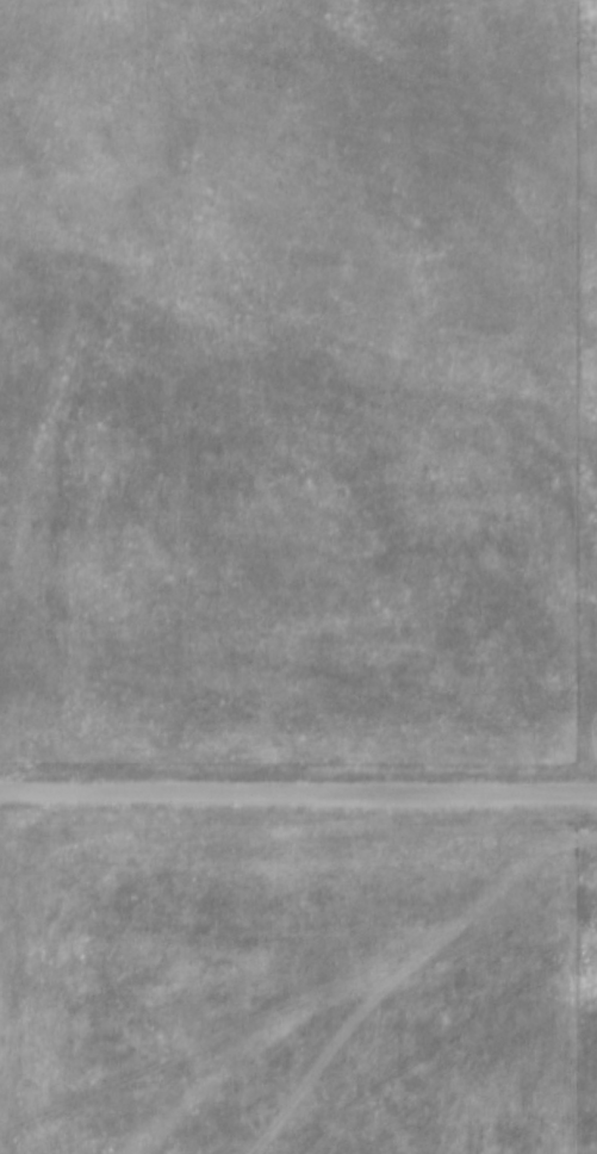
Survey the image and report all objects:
road: (298, 789)

